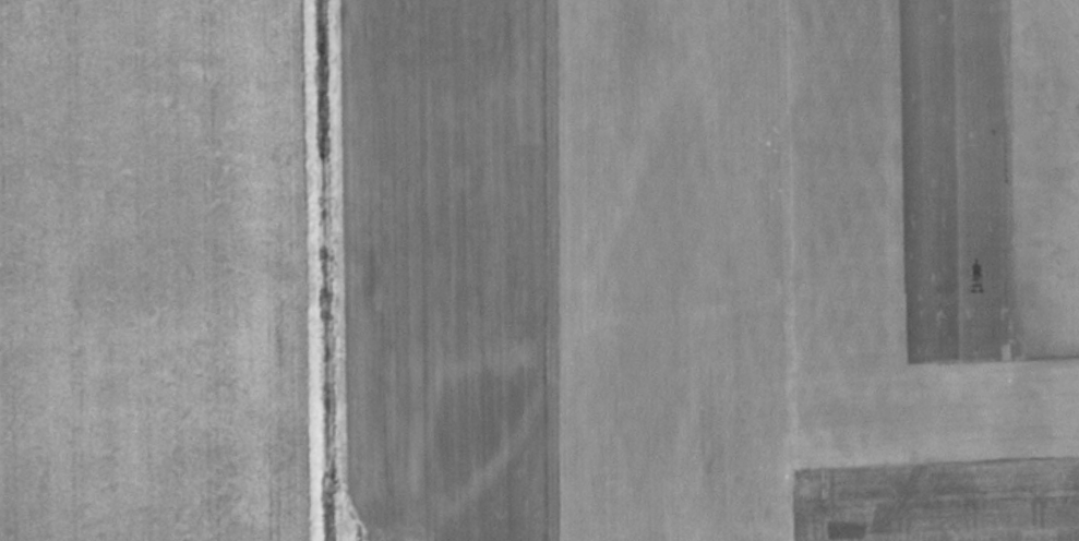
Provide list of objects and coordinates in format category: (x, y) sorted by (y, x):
road: (550, 270)

